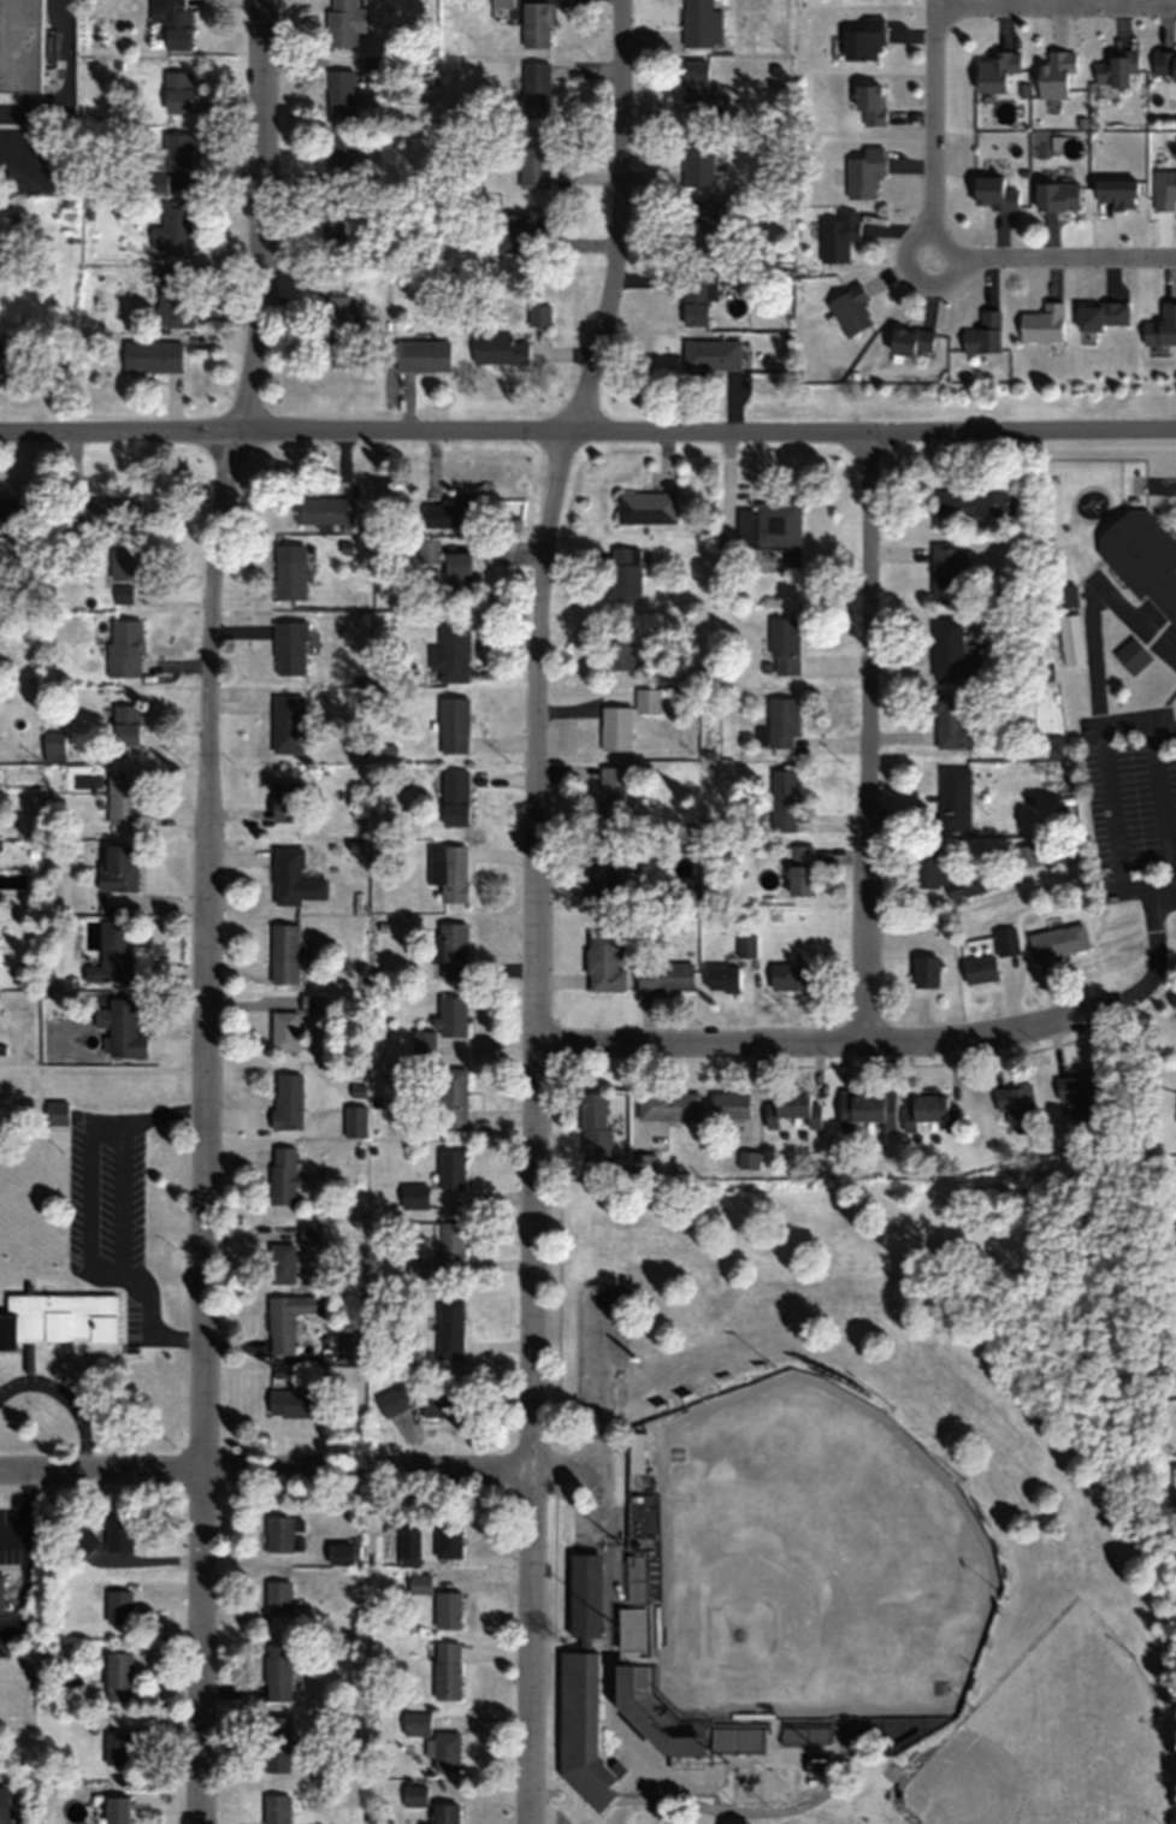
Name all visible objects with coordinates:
building: (502, 2)
road: (1053, 5)
building: (342, 22)
building: (702, 23)
building: (536, 24)
building: (172, 25)
building: (865, 41)
building: (20, 45)
building: (1165, 64)
building: (995, 70)
building: (1118, 70)
building: (1056, 73)
building: (695, 79)
building: (536, 88)
road: (69, 90)
building: (177, 90)
building: (339, 92)
building: (870, 102)
road: (930, 128)
building: (177, 149)
building: (342, 152)
building: (697, 157)
building: (534, 158)
building: (865, 172)
building: (1164, 188)
building: (993, 191)
building: (1117, 191)
building: (1057, 194)
building: (710, 224)
building: (341, 228)
building: (519, 228)
building: (173, 229)
building: (838, 235)
road: (1053, 256)
building: (698, 294)
building: (175, 296)
building: (851, 309)
building: (539, 313)
building: (1103, 314)
building: (1042, 323)
building: (1162, 326)
building: (343, 327)
building: (985, 332)
building: (912, 340)
building: (500, 348)
building: (421, 354)
building: (713, 354)
building: (152, 355)
building: (1, 356)
road: (587, 437)
building: (974, 503)
building: (646, 507)
building: (8, 508)
building: (102, 509)
building: (324, 510)
building: (453, 510)
building: (769, 535)
building: (429, 550)
building: (1142, 557)
building: (126, 562)
building: (290, 571)
building: (459, 571)
building: (947, 572)
building: (625, 574)
building: (123, 594)
building: (1064, 597)
road: (1091, 601)
building: (1070, 639)
building: (785, 645)
building: (290, 647)
building: (124, 648)
building: (453, 650)
building: (620, 650)
building: (951, 650)
building: (1131, 656)
building: (649, 701)
building: (953, 720)
building: (288, 722)
building: (782, 722)
building: (454, 725)
building: (617, 727)
building: (126, 728)
road: (869, 742)
building: (53, 745)
road: (1105, 791)
building: (614, 796)
building: (455, 797)
building: (123, 798)
building: (955, 798)
building: (285, 799)
building: (785, 799)
road: (1159, 813)
building: (1028, 855)
building: (928, 866)
building: (116, 867)
building: (601, 870)
building: (802, 870)
building: (451, 872)
building: (295, 878)
building: (973, 883)
road: (1174, 884)
road: (537, 907)
road: (207, 909)
building: (1006, 939)
building: (1058, 940)
building: (746, 945)
building: (450, 949)
building: (116, 950)
building: (284, 952)
building: (604, 960)
building: (980, 968)
building: (926, 969)
building: (664, 975)
building: (787, 975)
building: (722, 978)
road: (1164, 979)
building: (451, 1015)
building: (292, 1023)
building: (124, 1028)
road: (886, 1044)
building: (1076, 1093)
building: (453, 1097)
building: (286, 1100)
building: (1016, 1104)
building: (668, 1105)
building: (729, 1105)
building: (867, 1106)
building: (792, 1108)
building: (933, 1109)
building: (54, 1110)
building: (355, 1121)
building: (593, 1126)
building: (644, 1163)
building: (450, 1168)
building: (284, 1175)
building: (414, 1194)
building: (450, 1239)
building: (418, 1267)
building: (46, 1318)
building: (289, 1318)
building: (450, 1328)
building: (351, 1342)
building: (421, 1400)
building: (294, 1401)
building: (892, 1432)
building: (636, 1451)
road: (265, 1468)
park: (850, 1504)
building: (118, 1533)
building: (284, 1534)
building: (448, 1536)
building: (82, 1541)
building: (408, 1547)
building: (344, 1553)
park: (811, 1560)
building: (616, 1574)
building: (420, 1583)
building: (1, 1590)
building: (278, 1596)
stadium: (769, 1599)
building: (118, 1606)
building: (448, 1608)
building: (447, 1670)
building: (277, 1672)
building: (118, 1676)
building: (583, 1687)
building: (651, 1718)
building: (805, 1734)
building: (738, 1737)
park: (1054, 1741)
building: (276, 1743)
building: (117, 1747)
building: (447, 1749)
building: (815, 1764)
building: (414, 1795)
building: (4, 1805)
building: (276, 1808)
building: (117, 1810)
road: (763, 1810)
building: (445, 1813)
road: (835, 1813)

